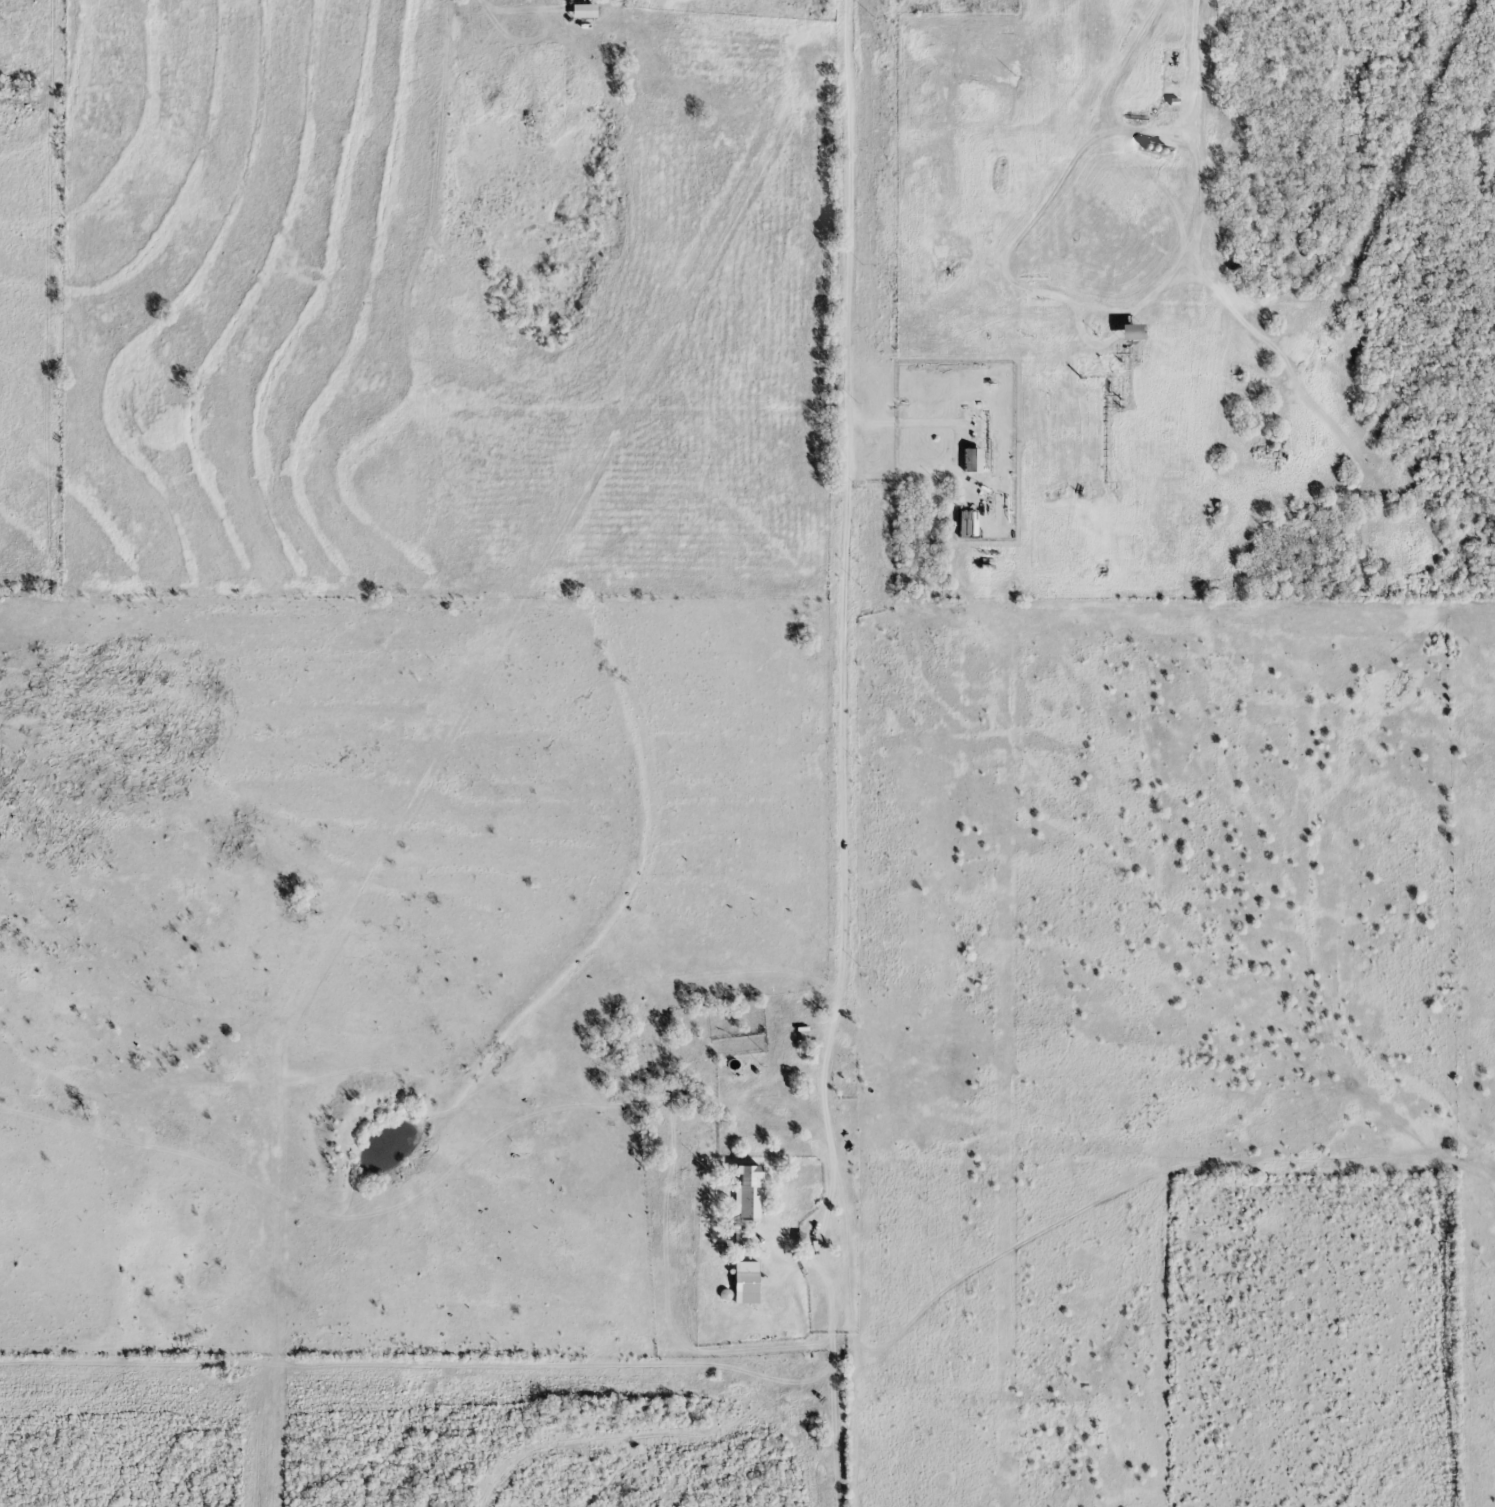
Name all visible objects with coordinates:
building: (583, 9)
road: (1073, 297)
building: (1131, 329)
building: (972, 457)
road: (844, 593)
building: (749, 1193)
building: (748, 1282)

